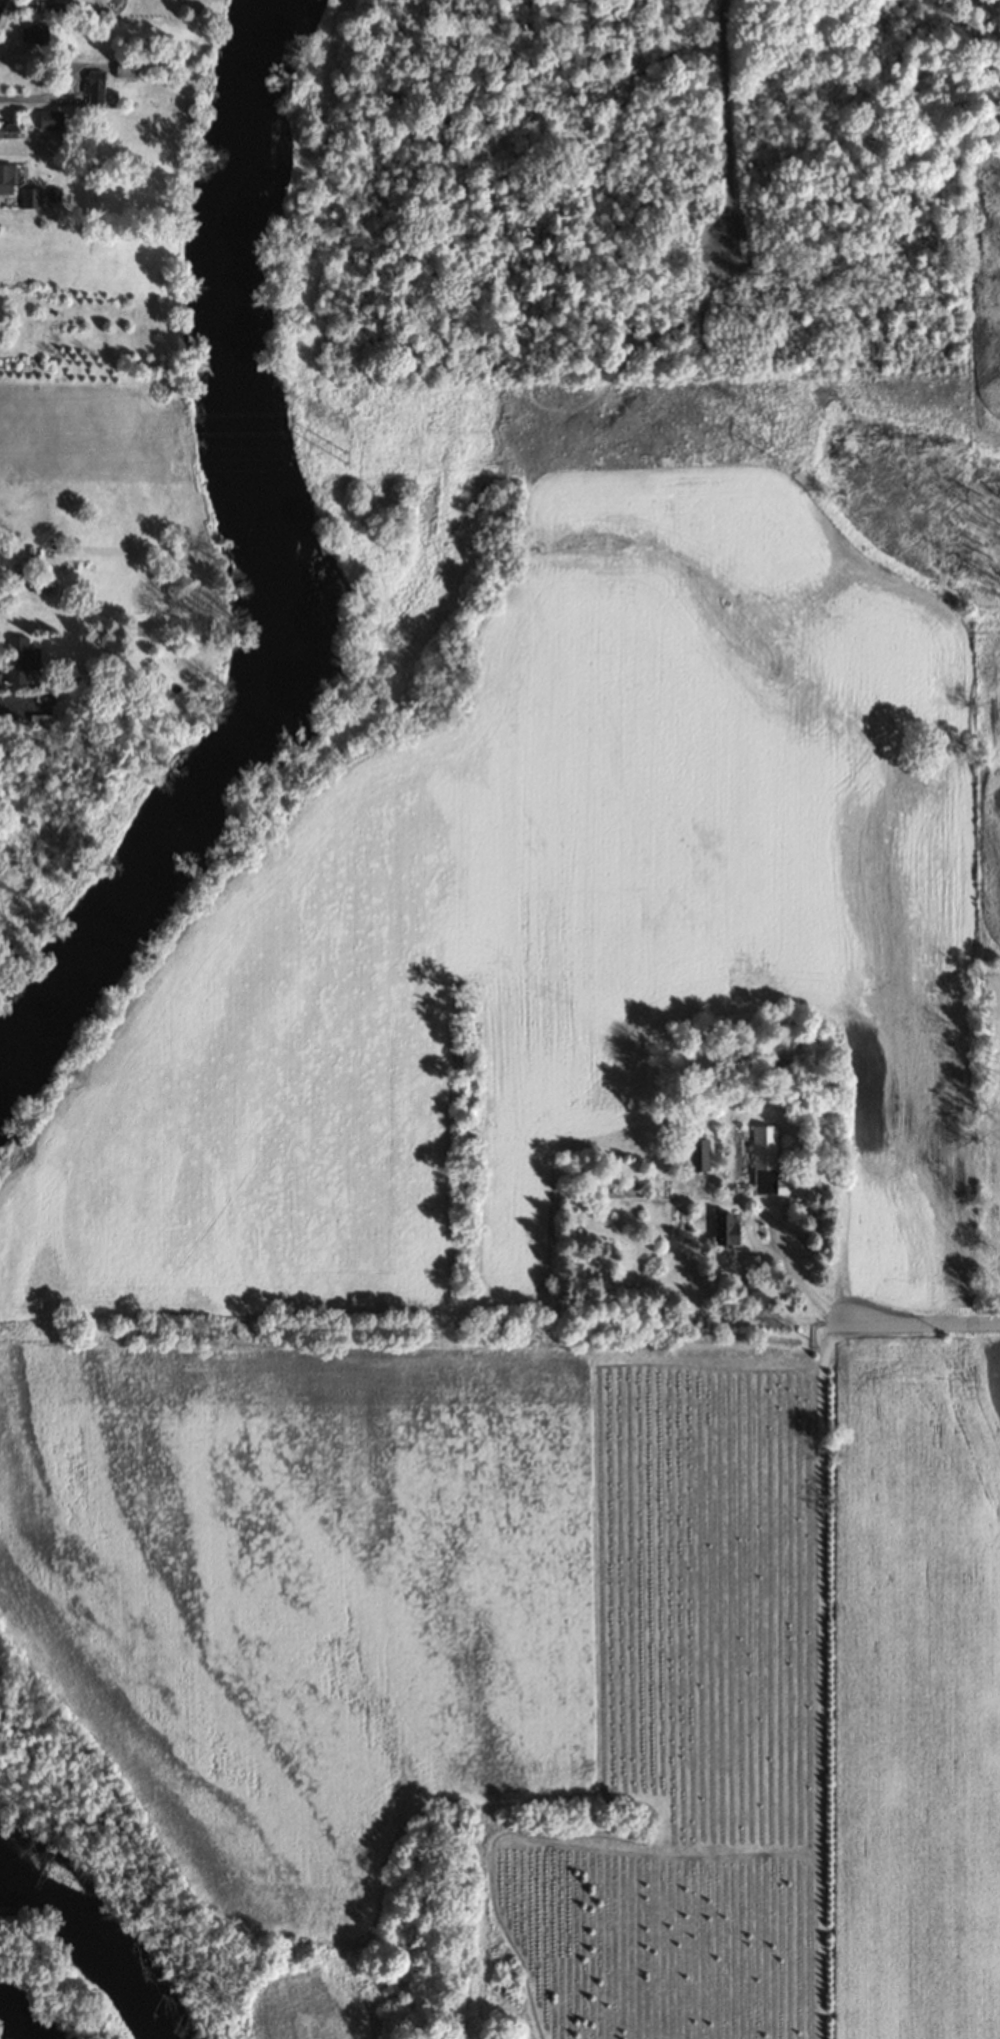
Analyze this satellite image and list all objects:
building: (37, 35)
building: (125, 70)
building: (98, 88)
road: (44, 97)
building: (50, 121)
road: (729, 127)
building: (8, 131)
building: (6, 180)
park: (604, 197)
building: (29, 198)
power tower: (766, 418)
power tower: (339, 424)
power tower: (766, 451)
power tower: (344, 458)
river: (258, 565)
building: (20, 661)
road: (15, 707)
building: (698, 1157)
building: (769, 1168)
building: (725, 1230)
building: (750, 1271)
road: (792, 1275)
road: (921, 1323)
road: (820, 1678)
river: (18, 2015)

